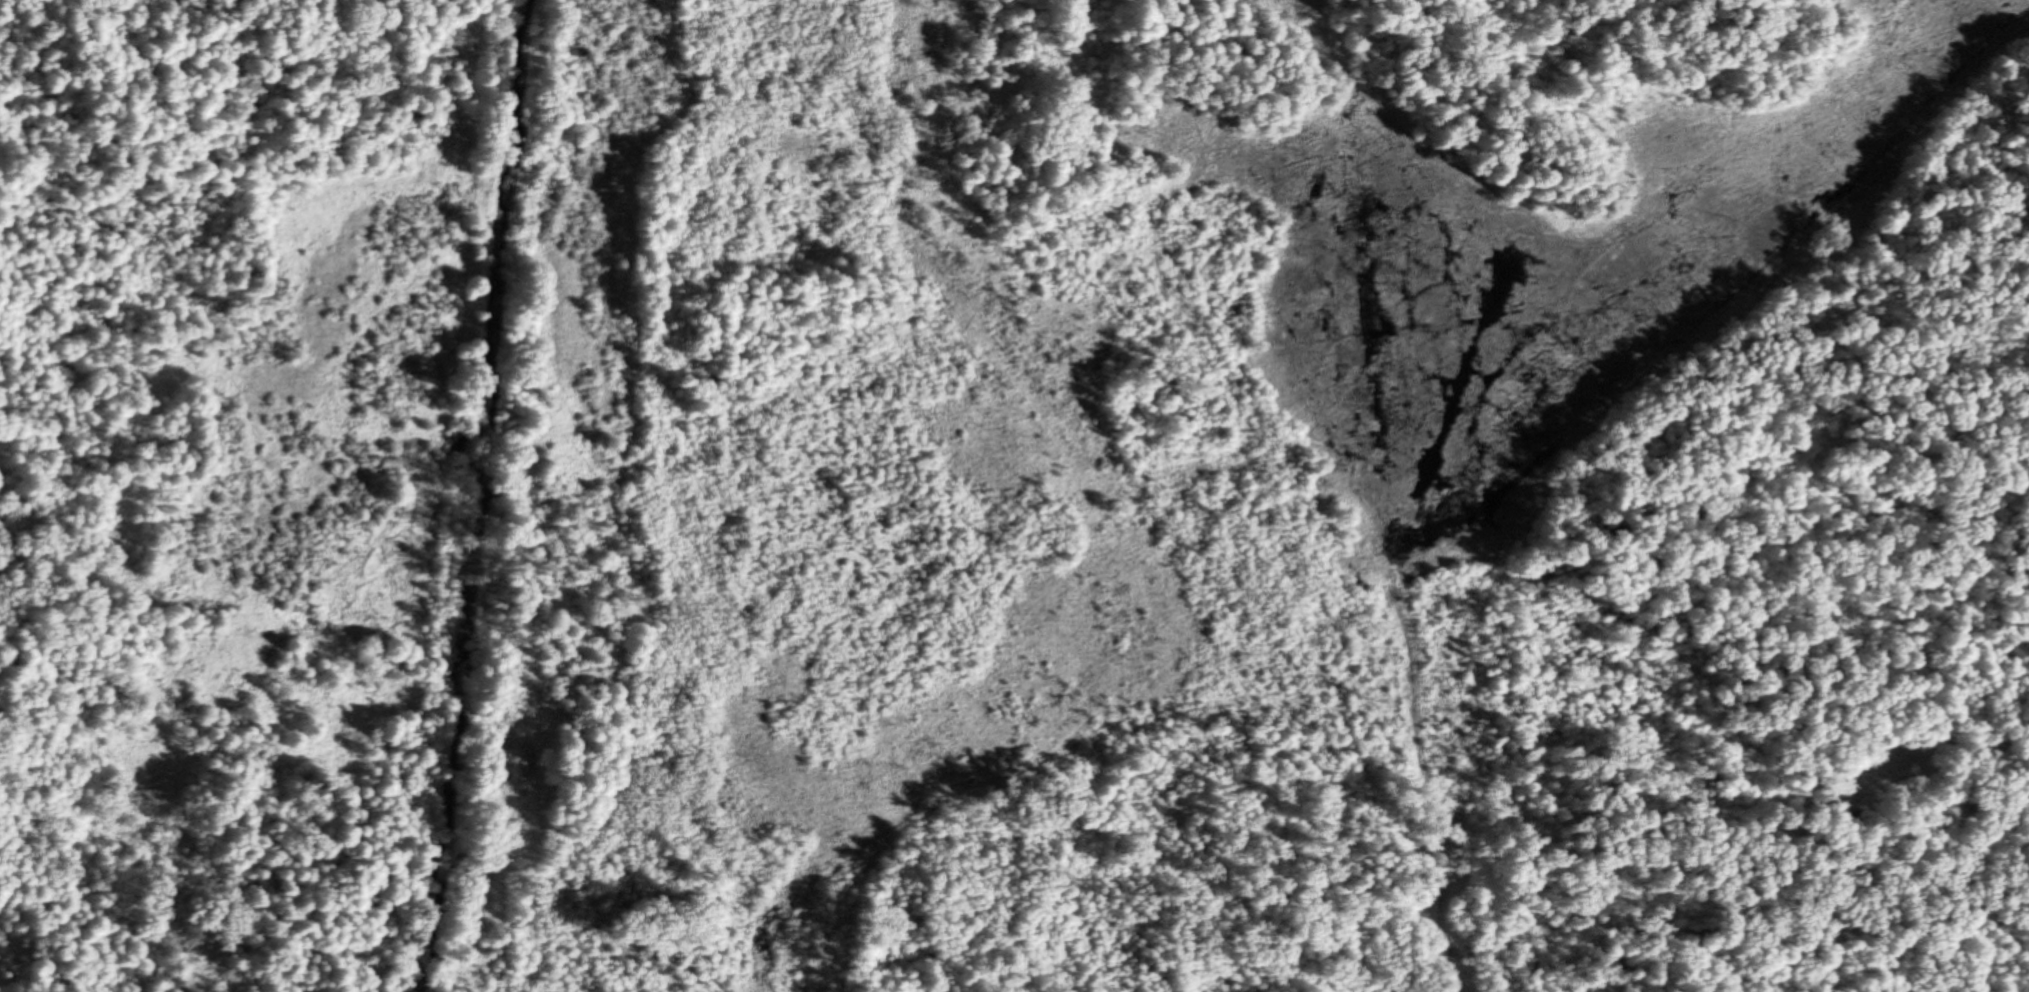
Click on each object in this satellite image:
road: (308, 850)

